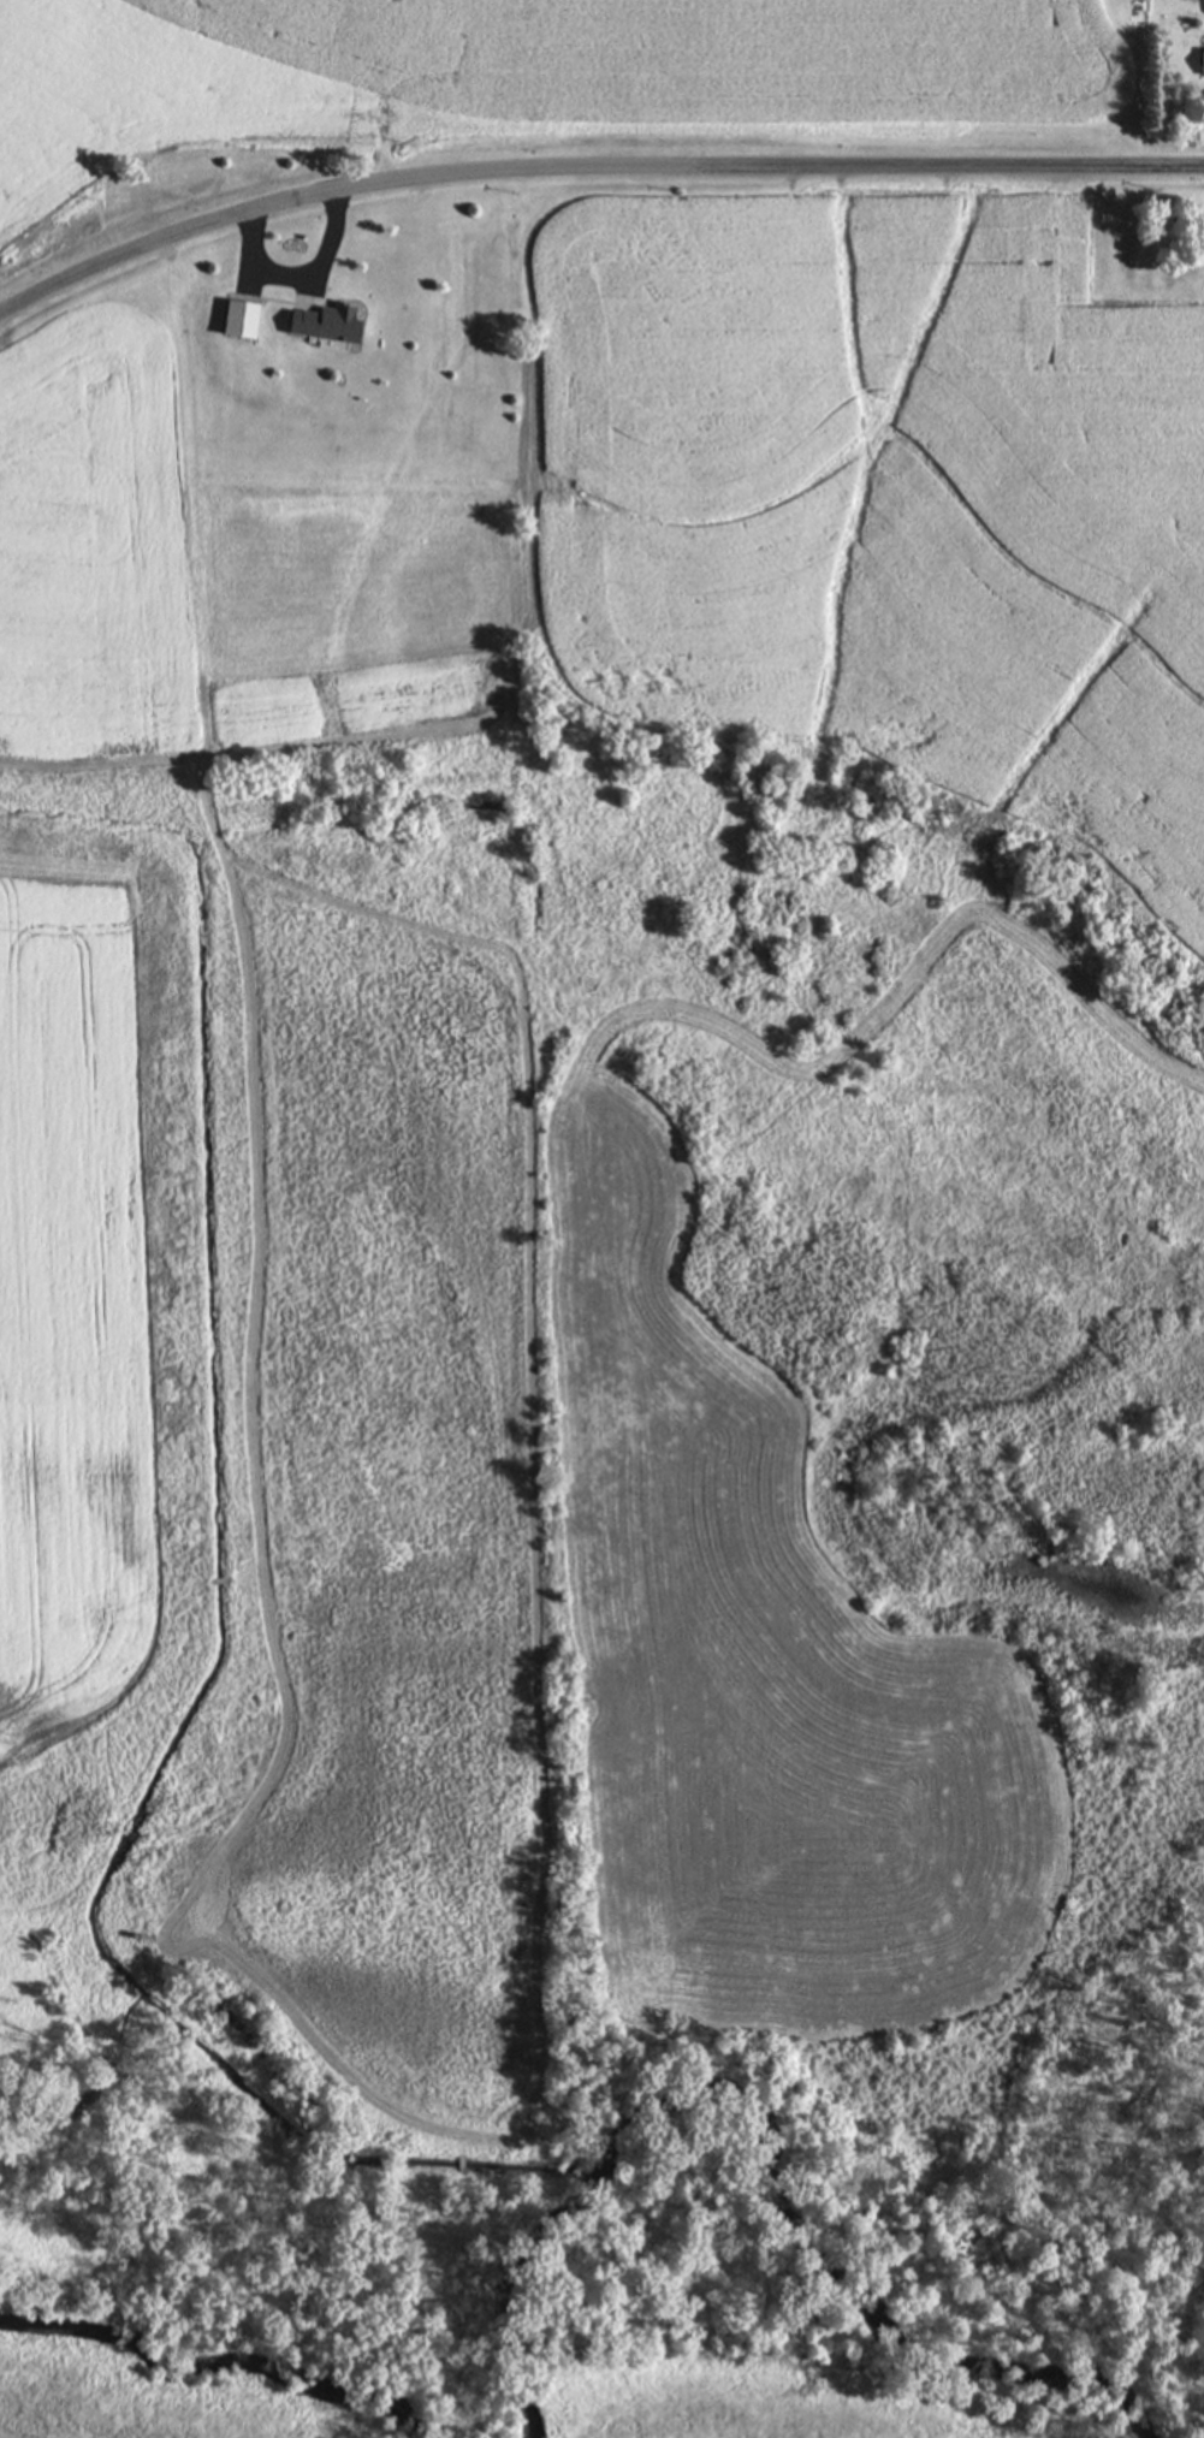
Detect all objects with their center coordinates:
building: (1202, 58)
road: (589, 165)
park: (1144, 235)
road: (298, 275)
building: (241, 316)
building: (327, 320)
river: (771, 2149)
river: (225, 2363)

